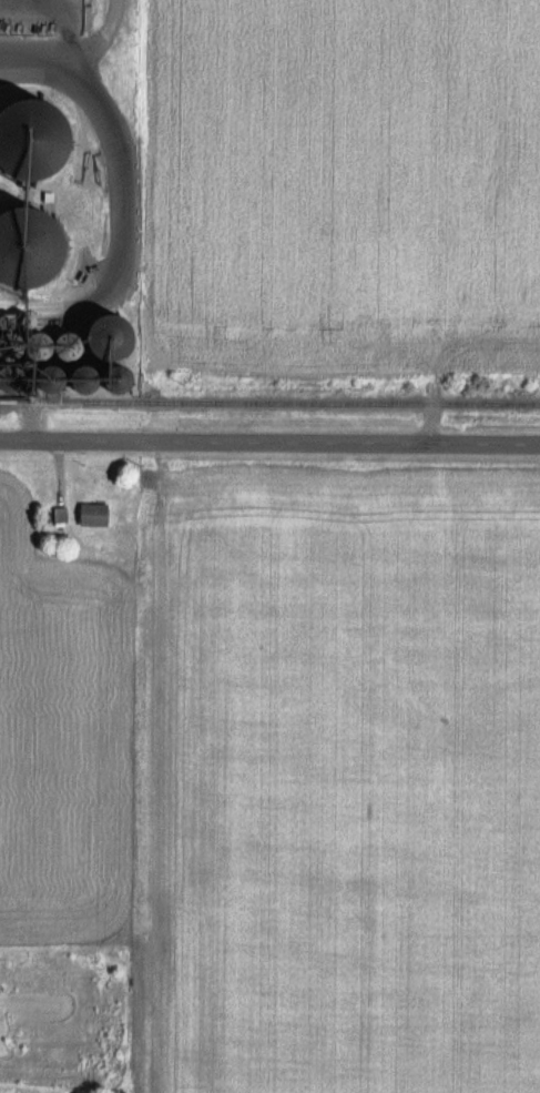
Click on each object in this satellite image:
road: (75, 60)
building: (11, 135)
storage tank: (34, 159)
building: (8, 243)
storage tank: (31, 244)
building: (57, 311)
storage tank: (14, 321)
storage tank: (31, 322)
storage tank: (114, 337)
storage tank: (12, 348)
storage tank: (44, 350)
storage tank: (75, 351)
building: (61, 356)
storage tank: (104, 379)
storage tank: (13, 381)
storage tank: (70, 381)
railway: (269, 403)
road: (269, 444)
building: (89, 515)
building: (52, 517)

